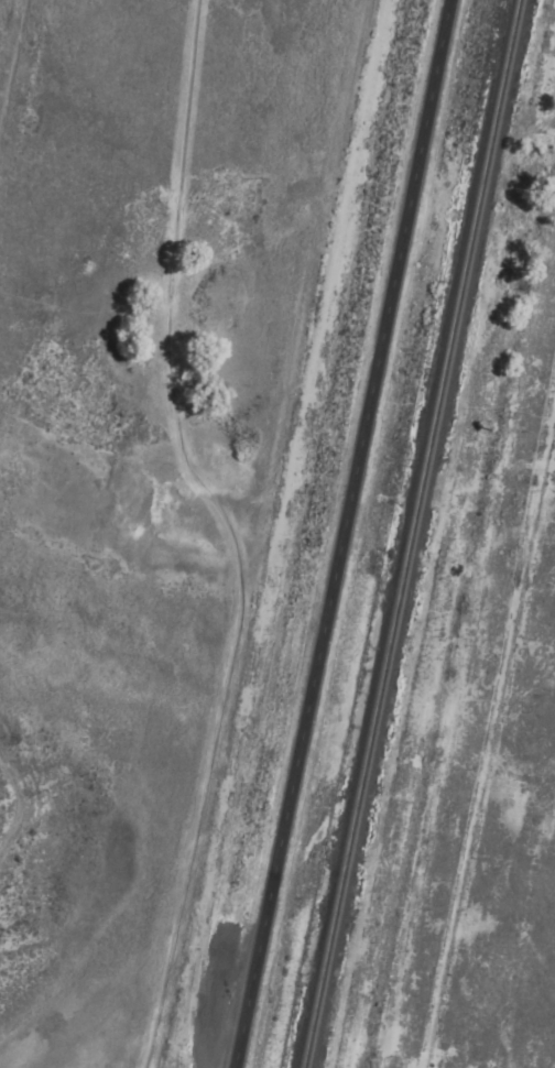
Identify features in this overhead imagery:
road: (325, 316)
road: (345, 534)
railway: (414, 534)
road: (216, 850)
parking lot: (227, 1004)

